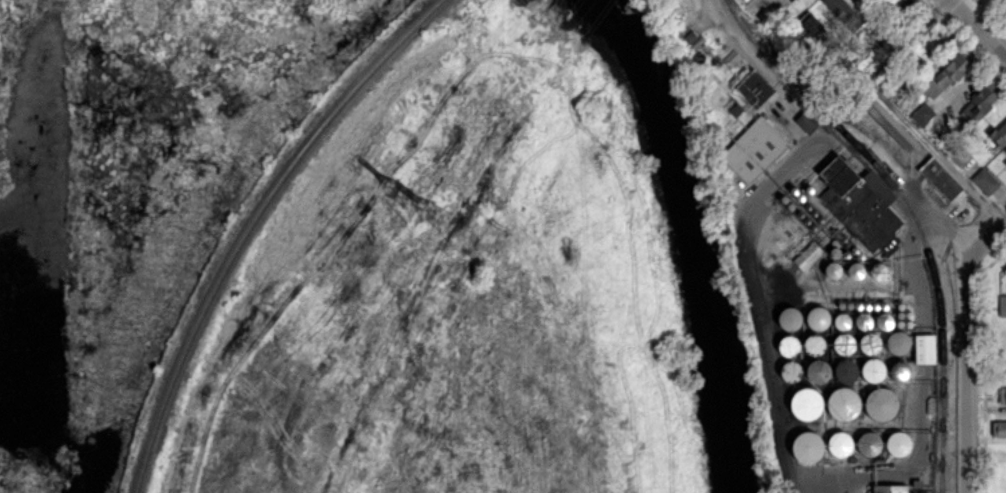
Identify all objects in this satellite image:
building: (1004, 1)
building: (900, 3)
road: (769, 9)
building: (844, 13)
building: (812, 26)
road: (977, 29)
road: (906, 39)
building: (731, 57)
building: (947, 74)
building: (757, 84)
building: (980, 102)
building: (922, 114)
building: (806, 122)
building: (889, 123)
railway: (863, 126)
building: (999, 134)
building: (754, 149)
building: (1005, 149)
road: (935, 152)
building: (940, 178)
building: (985, 180)
power tower: (402, 194)
building: (861, 204)
power tower: (438, 212)
railway: (912, 214)
railway: (253, 224)
river: (693, 235)
building: (807, 255)
building: (1002, 306)
building: (789, 318)
building: (884, 320)
building: (898, 341)
building: (869, 342)
building: (924, 349)
road: (967, 350)
building: (789, 359)
building: (872, 369)
building: (845, 370)
building: (899, 371)
road: (778, 396)
building: (1002, 396)
building: (806, 403)
building: (842, 403)
building: (880, 404)
building: (1001, 429)
building: (899, 442)
building: (839, 443)
building: (869, 444)
building: (807, 447)
road: (823, 484)
building: (889, 488)

